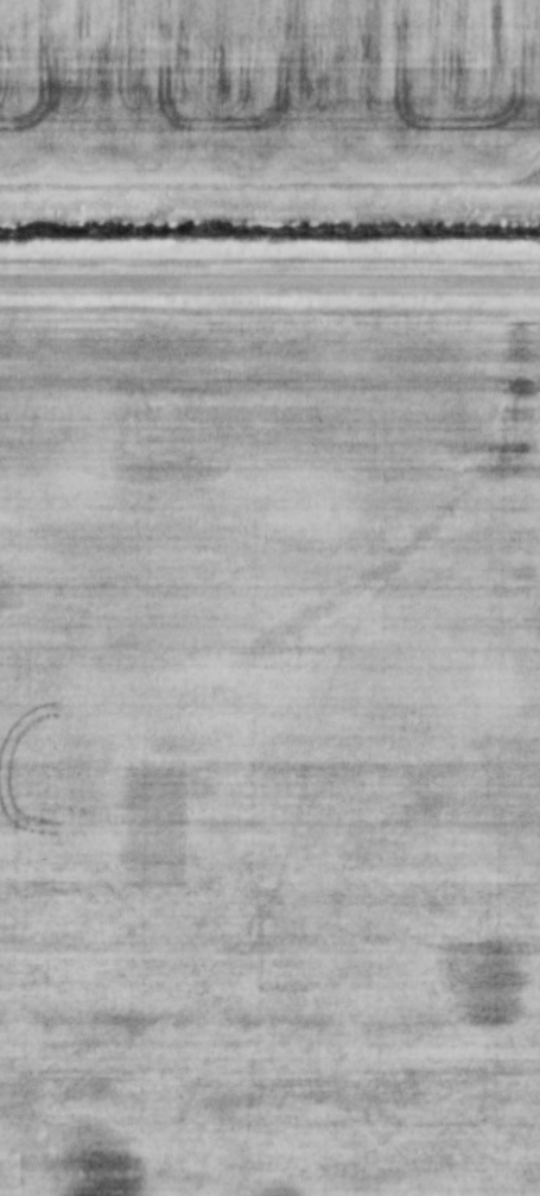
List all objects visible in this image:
road: (269, 281)

